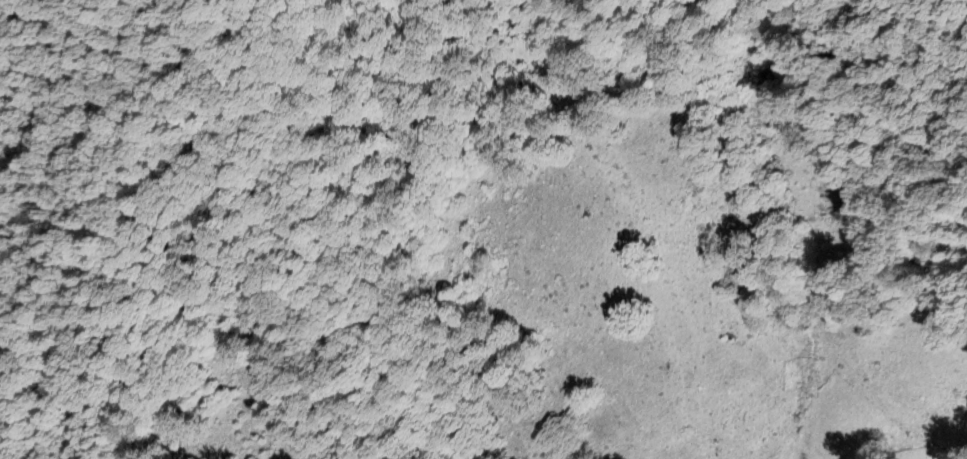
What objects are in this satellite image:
park: (919, 453)

